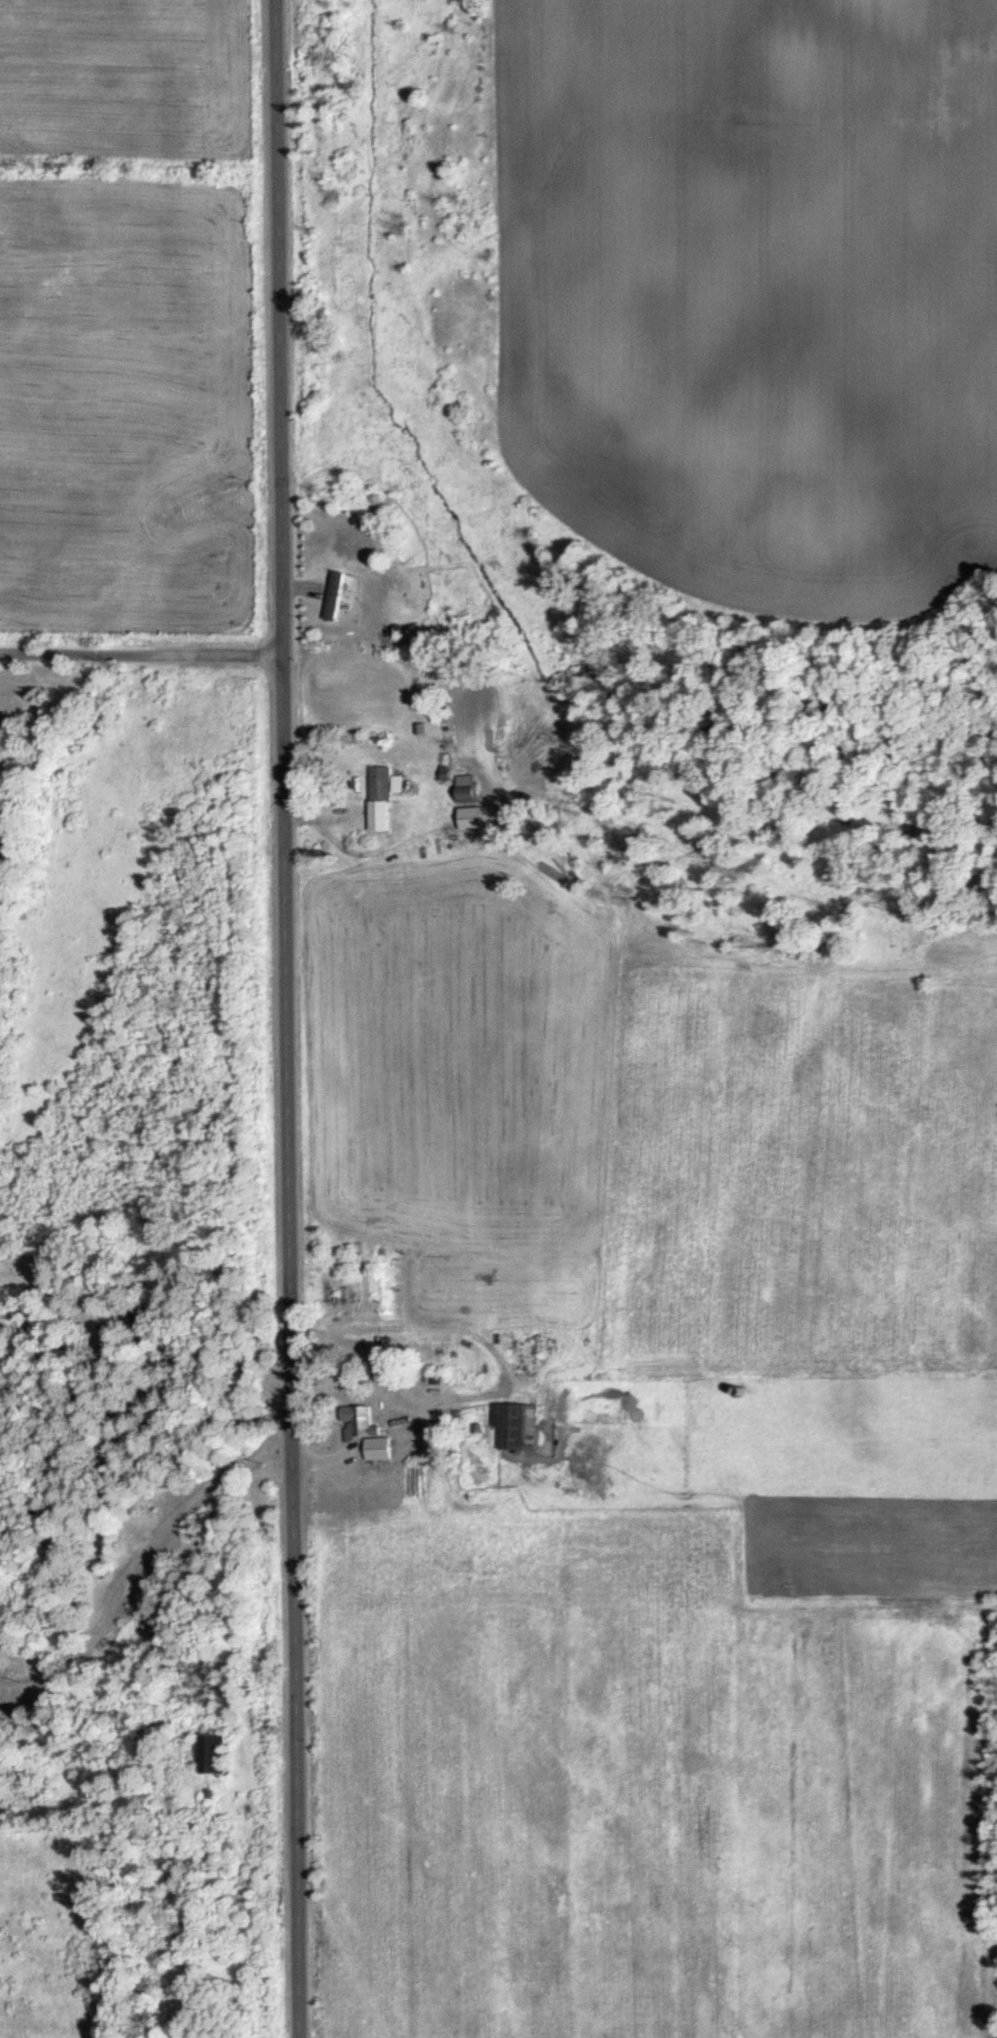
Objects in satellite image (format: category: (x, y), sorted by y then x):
building: (338, 595)
road: (143, 651)
building: (472, 793)
building: (385, 799)
road: (287, 1018)
building: (143, 1327)
road: (446, 1395)
building: (517, 1427)
building: (384, 1448)
road: (130, 1558)
building: (216, 1754)

